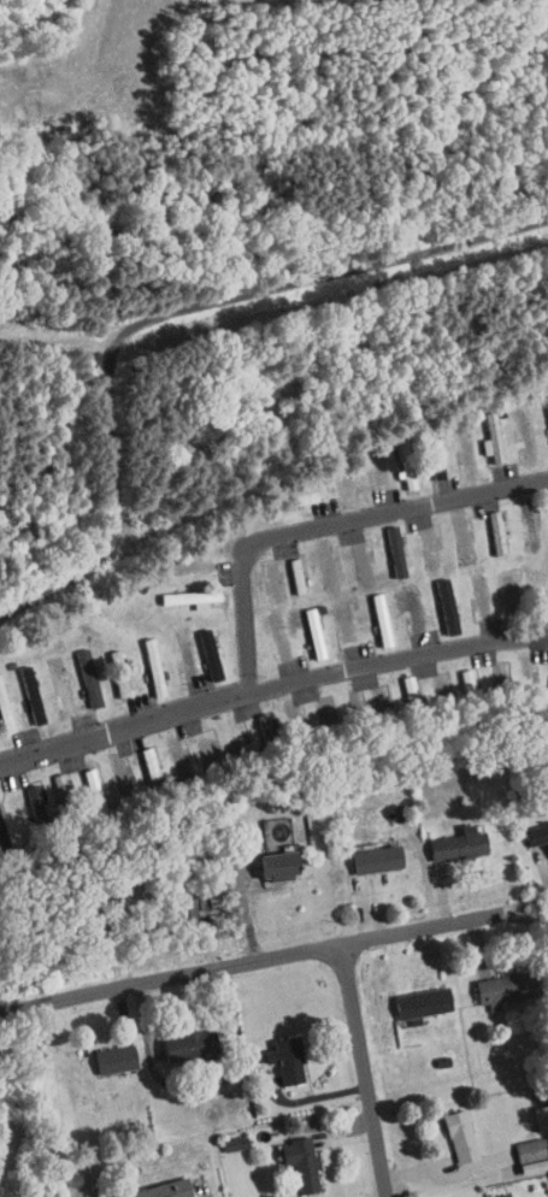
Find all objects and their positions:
building: (541, 411)
building: (481, 430)
building: (396, 470)
building: (287, 490)
building: (484, 524)
road: (330, 525)
building: (383, 543)
building: (283, 567)
road: (59, 586)
building: (177, 589)
building: (435, 597)
building: (369, 612)
building: (302, 625)
road: (543, 626)
building: (198, 647)
building: (141, 659)
building: (106, 666)
building: (76, 670)
building: (46, 672)
building: (544, 674)
building: (397, 682)
road: (270, 684)
building: (19, 686)
building: (0, 720)
building: (137, 757)
building: (22, 791)
building: (534, 830)
building: (444, 837)
building: (363, 851)
building: (264, 857)
building: (189, 894)
building: (171, 900)
road: (249, 960)
building: (546, 965)
building: (489, 980)
building: (409, 995)
building: (173, 1037)
building: (101, 1051)
building: (272, 1052)
road: (367, 1069)
building: (447, 1128)
building: (219, 1137)
building: (520, 1149)
building: (291, 1157)
building: (149, 1186)
building: (483, 1193)

